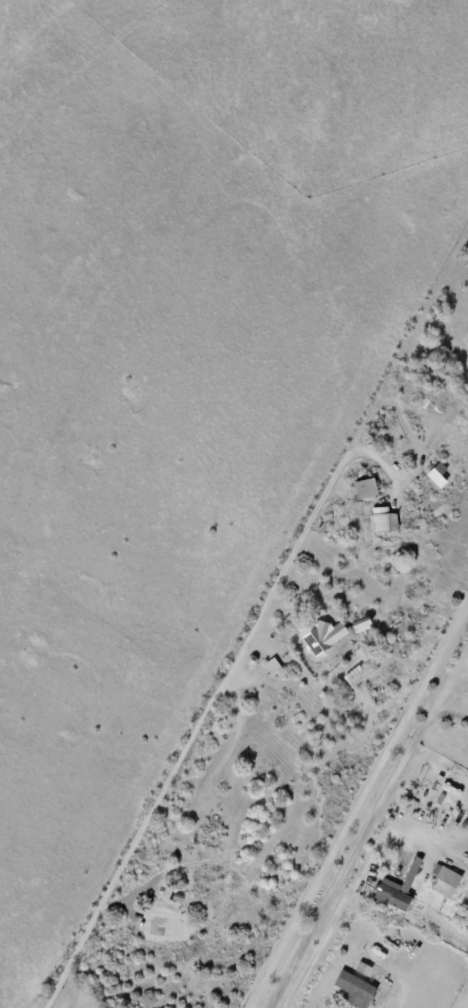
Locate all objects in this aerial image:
building: (367, 488)
building: (382, 523)
building: (332, 635)
building: (274, 667)
road: (214, 701)
building: (339, 730)
building: (445, 787)
road: (357, 807)
road: (361, 835)
building: (381, 863)
road: (357, 881)
building: (444, 881)
building: (399, 889)
building: (427, 922)
building: (362, 970)
building: (357, 990)

